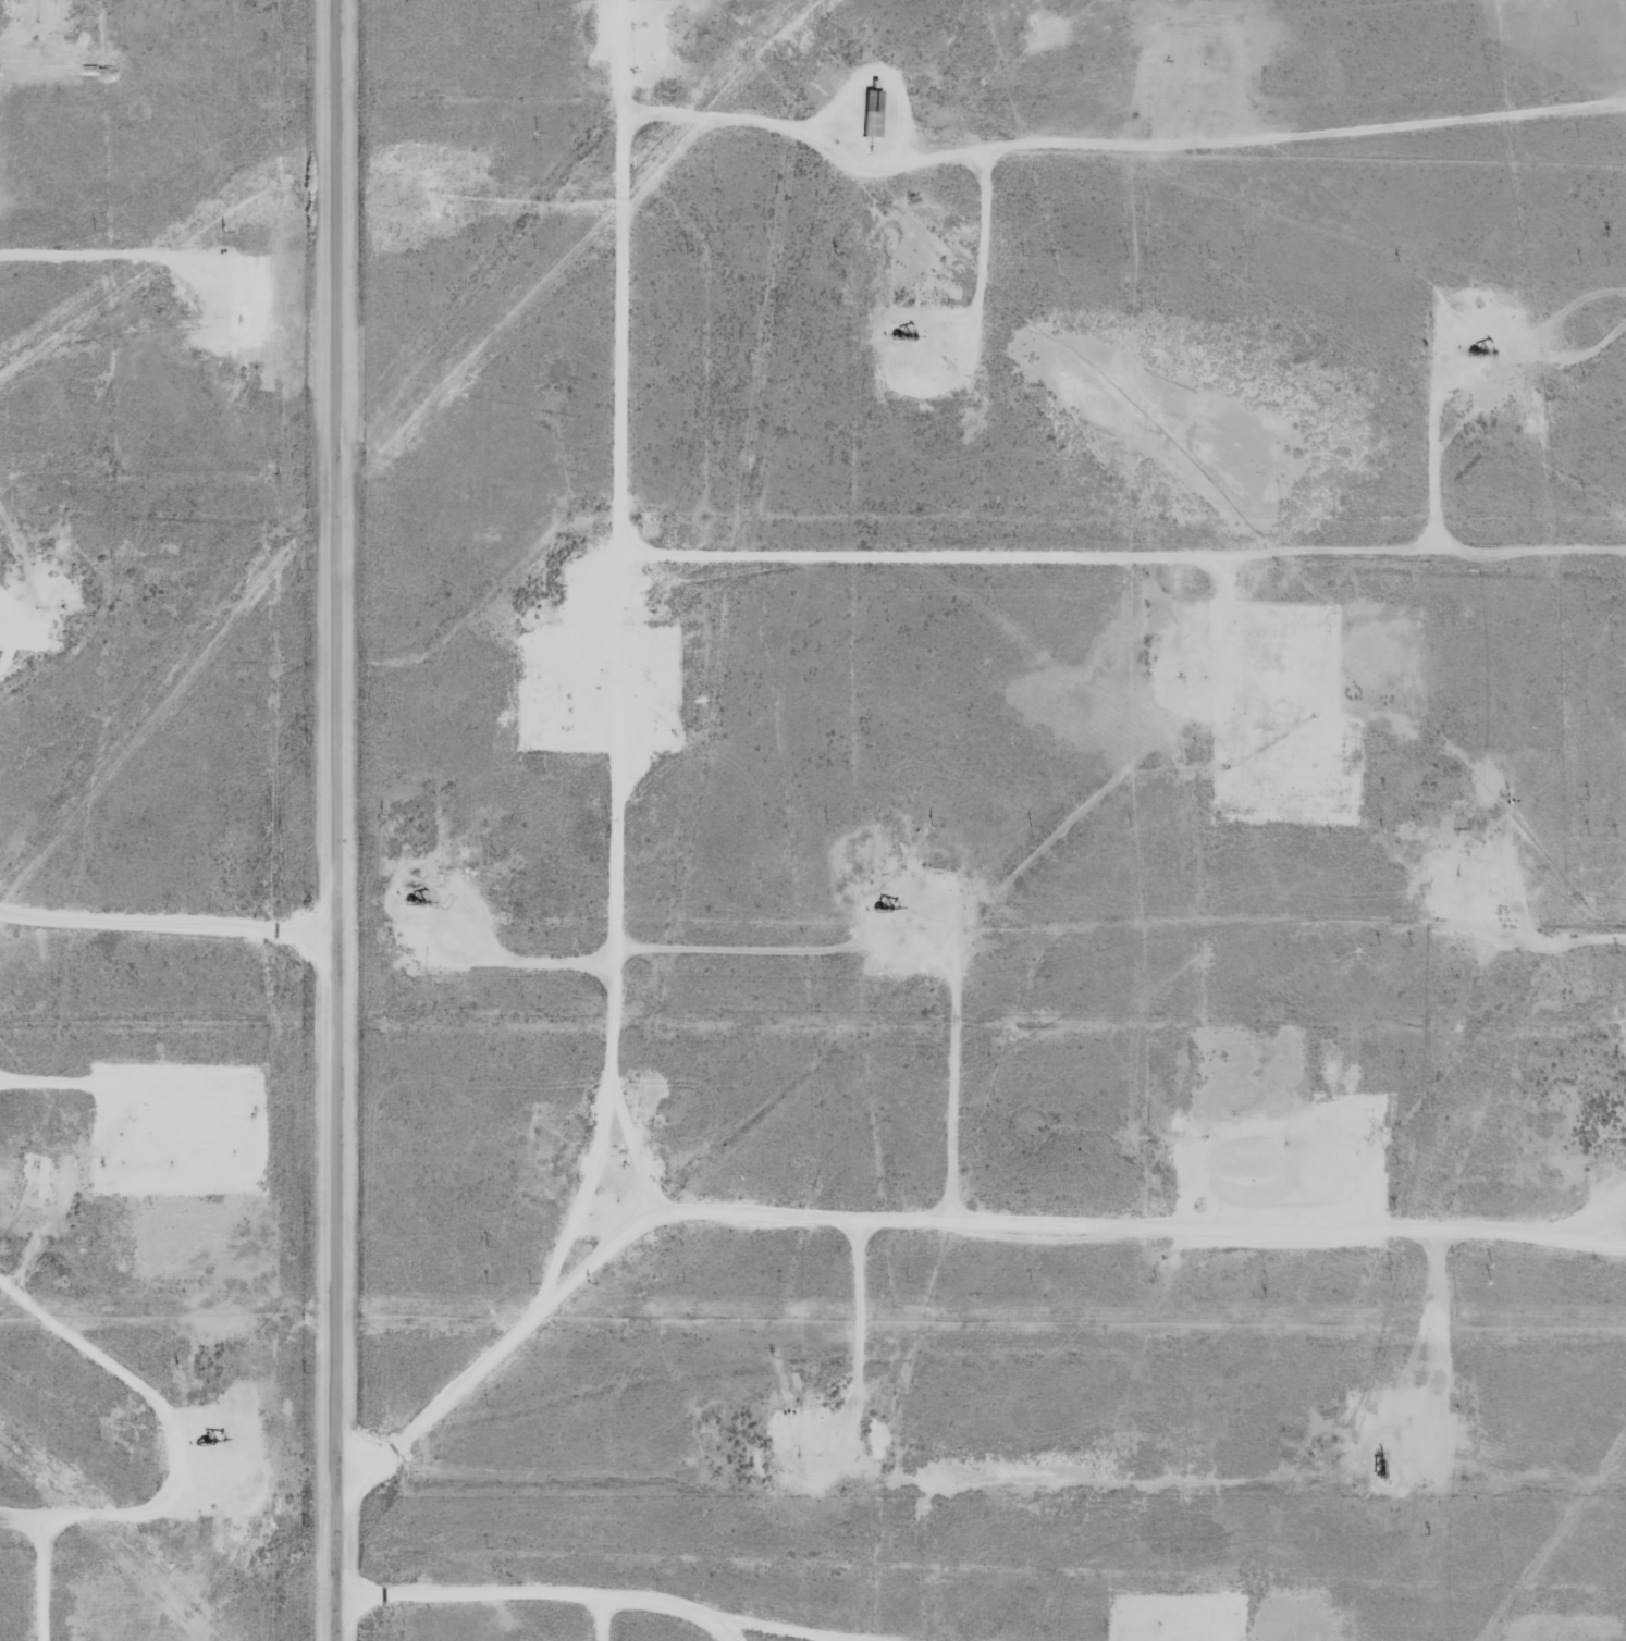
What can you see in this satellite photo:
road: (1122, 141)
road: (118, 251)
road: (985, 266)
road: (1436, 478)
road: (1121, 557)
road: (334, 820)
road: (167, 912)
road: (621, 923)
road: (1125, 1207)
road: (148, 1382)
road: (636, 1615)

